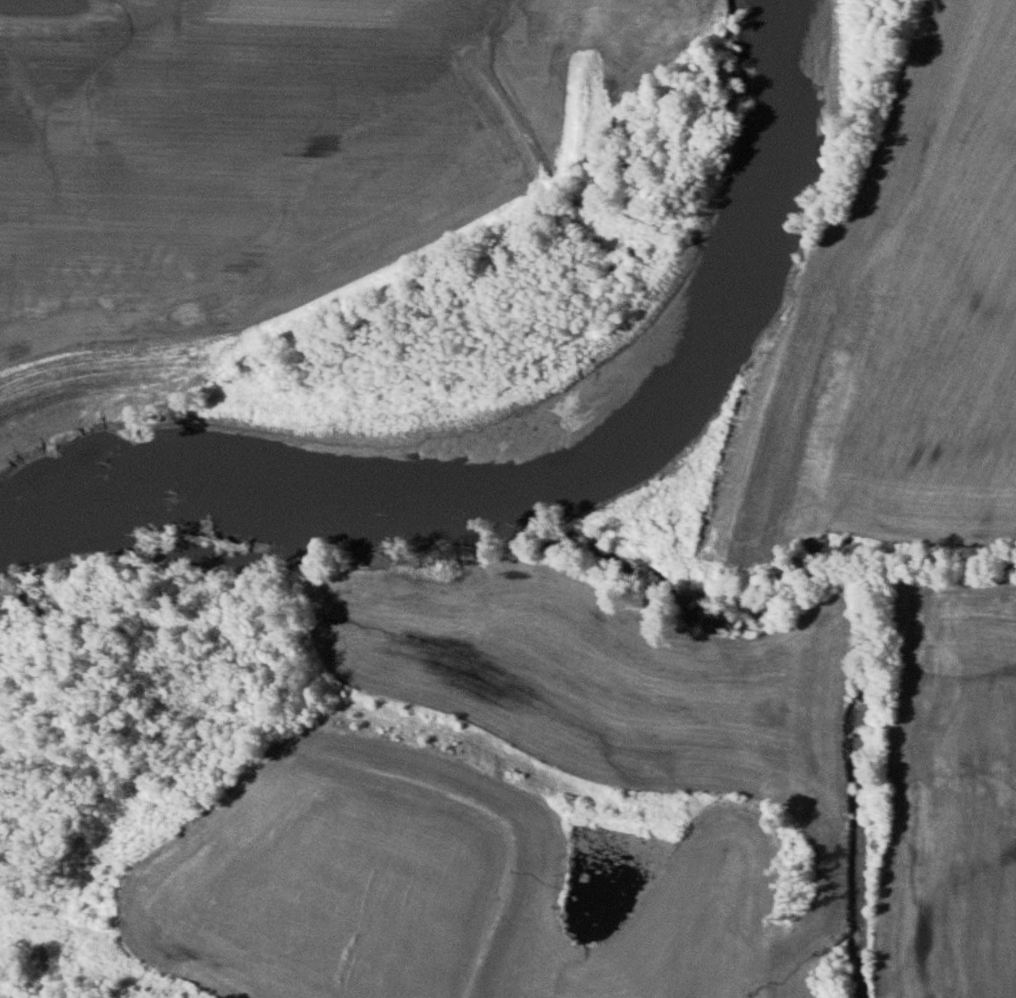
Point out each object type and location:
river: (504, 369)
river: (638, 617)
river: (939, 910)

